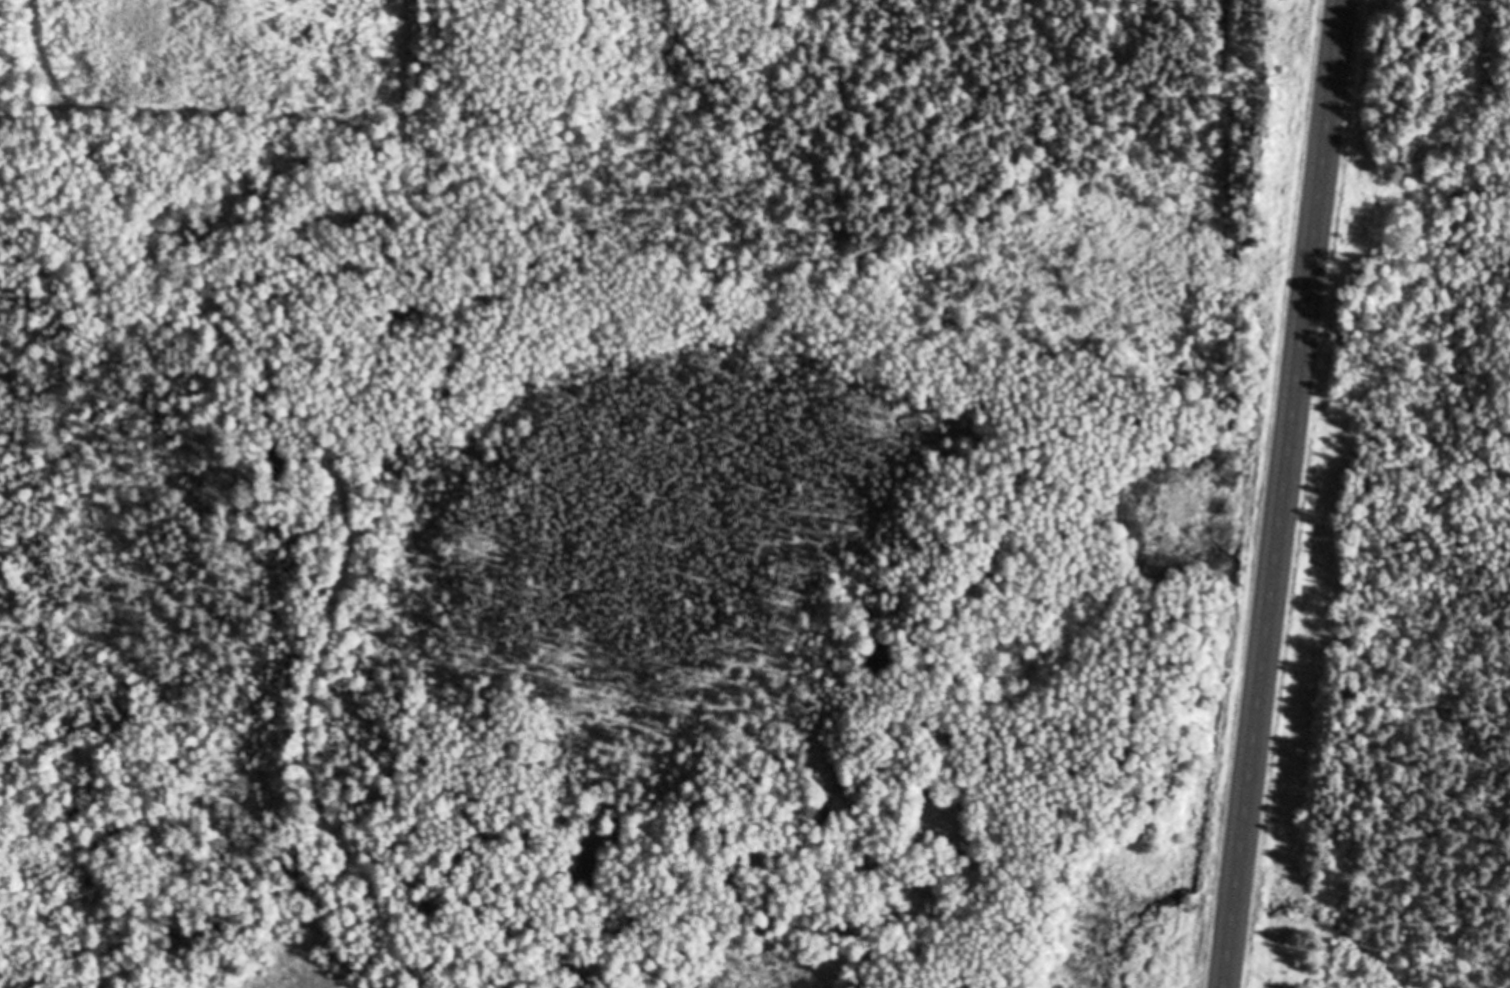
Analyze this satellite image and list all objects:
road: (1282, 493)

